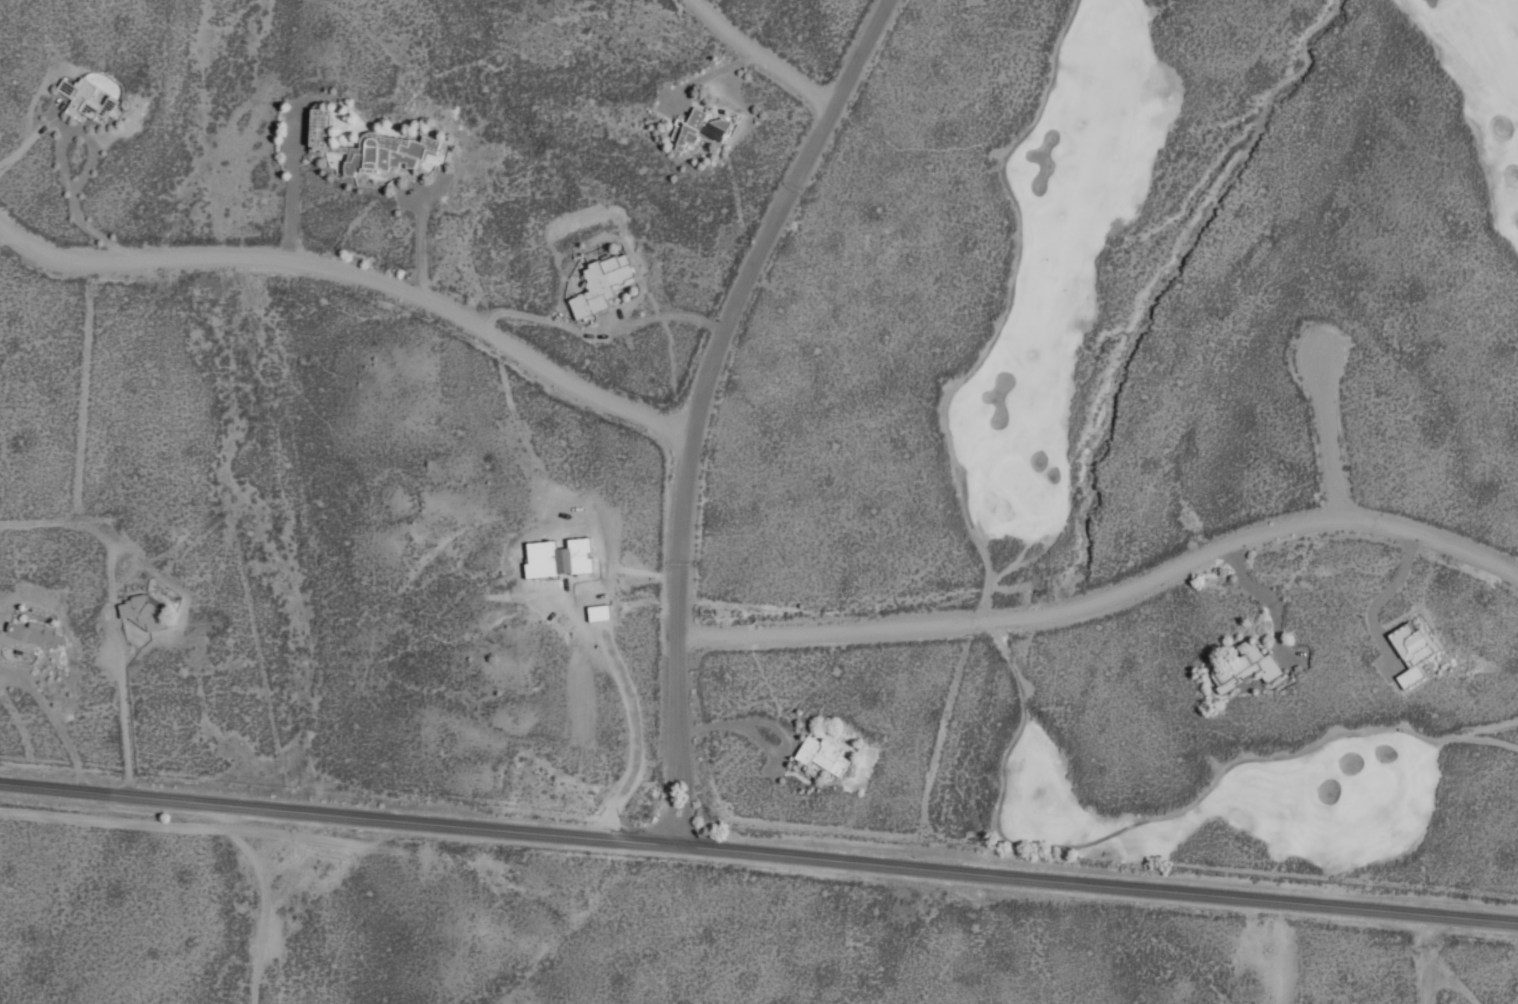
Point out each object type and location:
road: (778, 50)
building: (85, 100)
building: (316, 126)
building: (695, 128)
road: (358, 273)
building: (600, 283)
road: (702, 401)
park: (1235, 435)
road: (1325, 435)
building: (557, 557)
road: (1110, 596)
building: (597, 612)
building: (29, 636)
building: (1411, 648)
building: (1244, 667)
building: (821, 754)
road: (759, 851)

